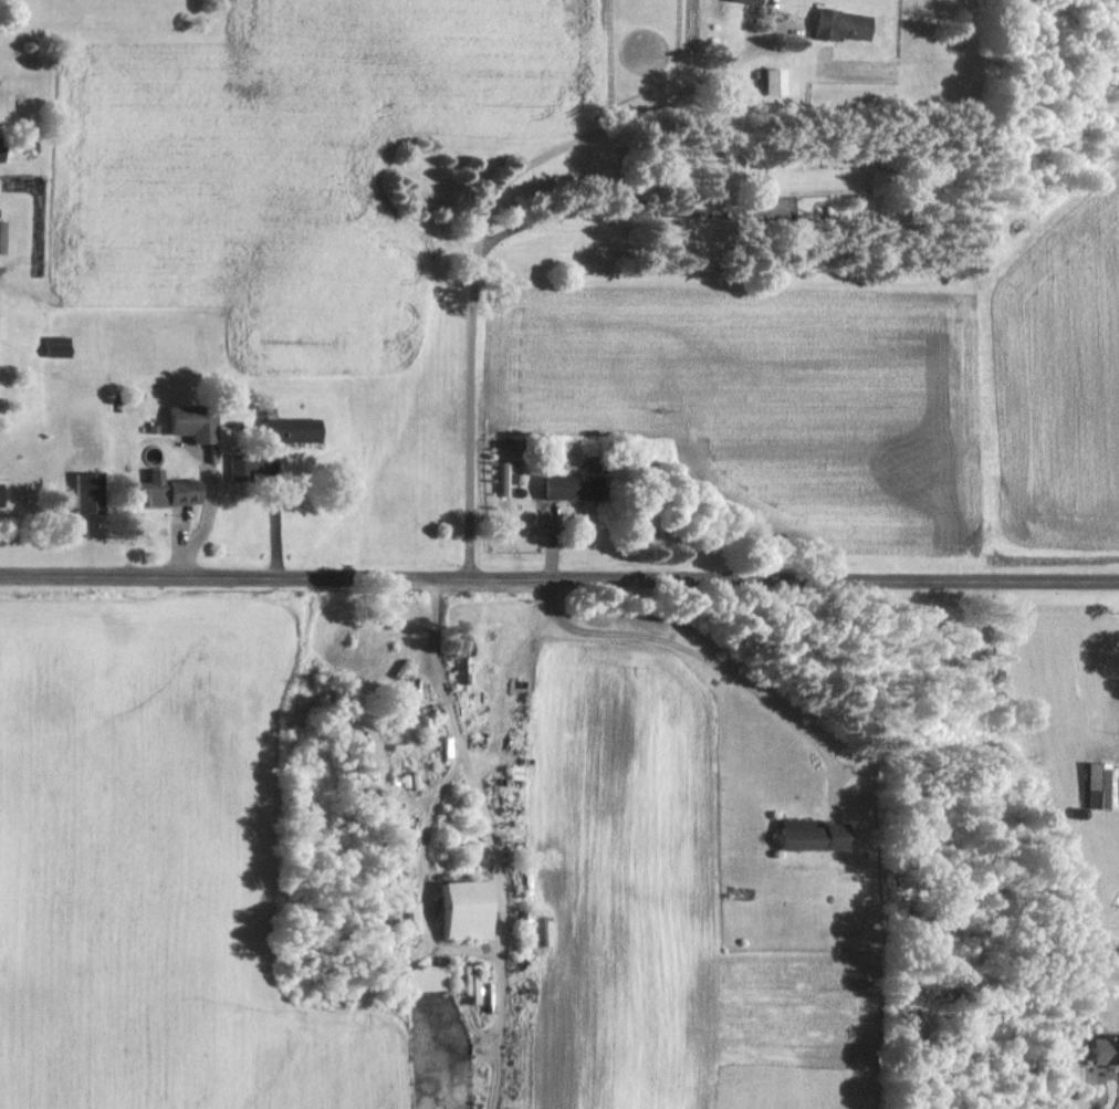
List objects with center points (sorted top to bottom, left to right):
building: (739, 1)
building: (832, 24)
building: (765, 81)
road: (571, 212)
road: (466, 227)
building: (46, 346)
building: (182, 421)
building: (280, 429)
building: (555, 487)
building: (153, 490)
building: (71, 491)
road: (261, 508)
road: (558, 579)
building: (479, 639)
building: (441, 656)
road: (691, 660)
building: (386, 708)
building: (411, 730)
building: (1090, 784)
building: (794, 834)
building: (445, 910)
building: (381, 914)
building: (1095, 1048)

